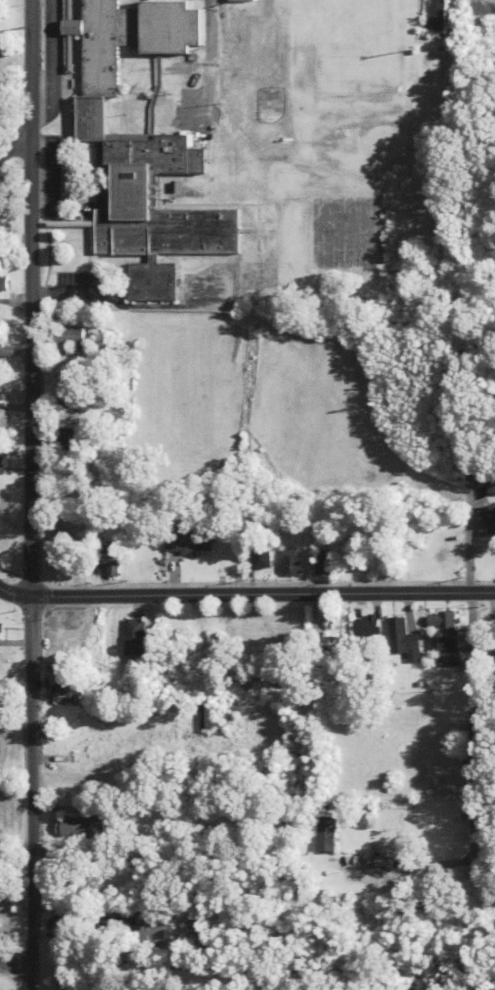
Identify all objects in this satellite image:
building: (237, 0)
road: (483, 9)
building: (135, 34)
road: (50, 62)
road: (14, 144)
building: (151, 193)
building: (155, 282)
parking lot: (78, 289)
road: (64, 293)
road: (32, 298)
road: (486, 302)
building: (68, 338)
building: (6, 350)
building: (1, 386)
building: (69, 391)
building: (4, 422)
building: (67, 437)
building: (3, 465)
building: (190, 486)
building: (489, 488)
building: (489, 521)
road: (471, 530)
building: (196, 542)
building: (68, 556)
building: (433, 557)
building: (263, 558)
building: (289, 562)
building: (322, 562)
building: (118, 564)
road: (15, 594)
road: (263, 595)
building: (365, 627)
building: (3, 631)
building: (444, 636)
building: (139, 639)
building: (401, 640)
building: (327, 648)
building: (220, 650)
building: (493, 651)
building: (77, 654)
building: (71, 690)
building: (217, 724)
road: (474, 725)
building: (3, 734)
road: (31, 793)
building: (78, 827)
building: (427, 831)
building: (325, 835)
building: (380, 865)
road: (157, 908)
building: (64, 925)
building: (144, 933)
road: (15, 968)

